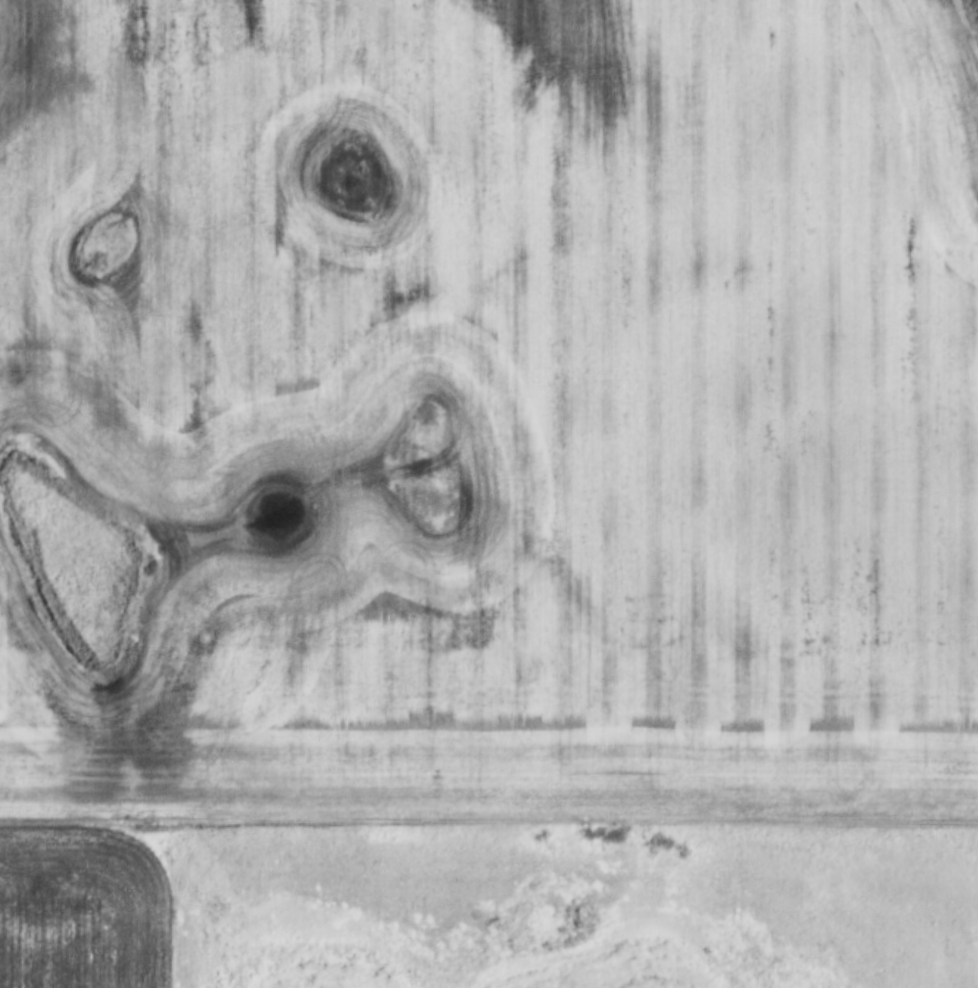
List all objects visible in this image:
road: (489, 818)

